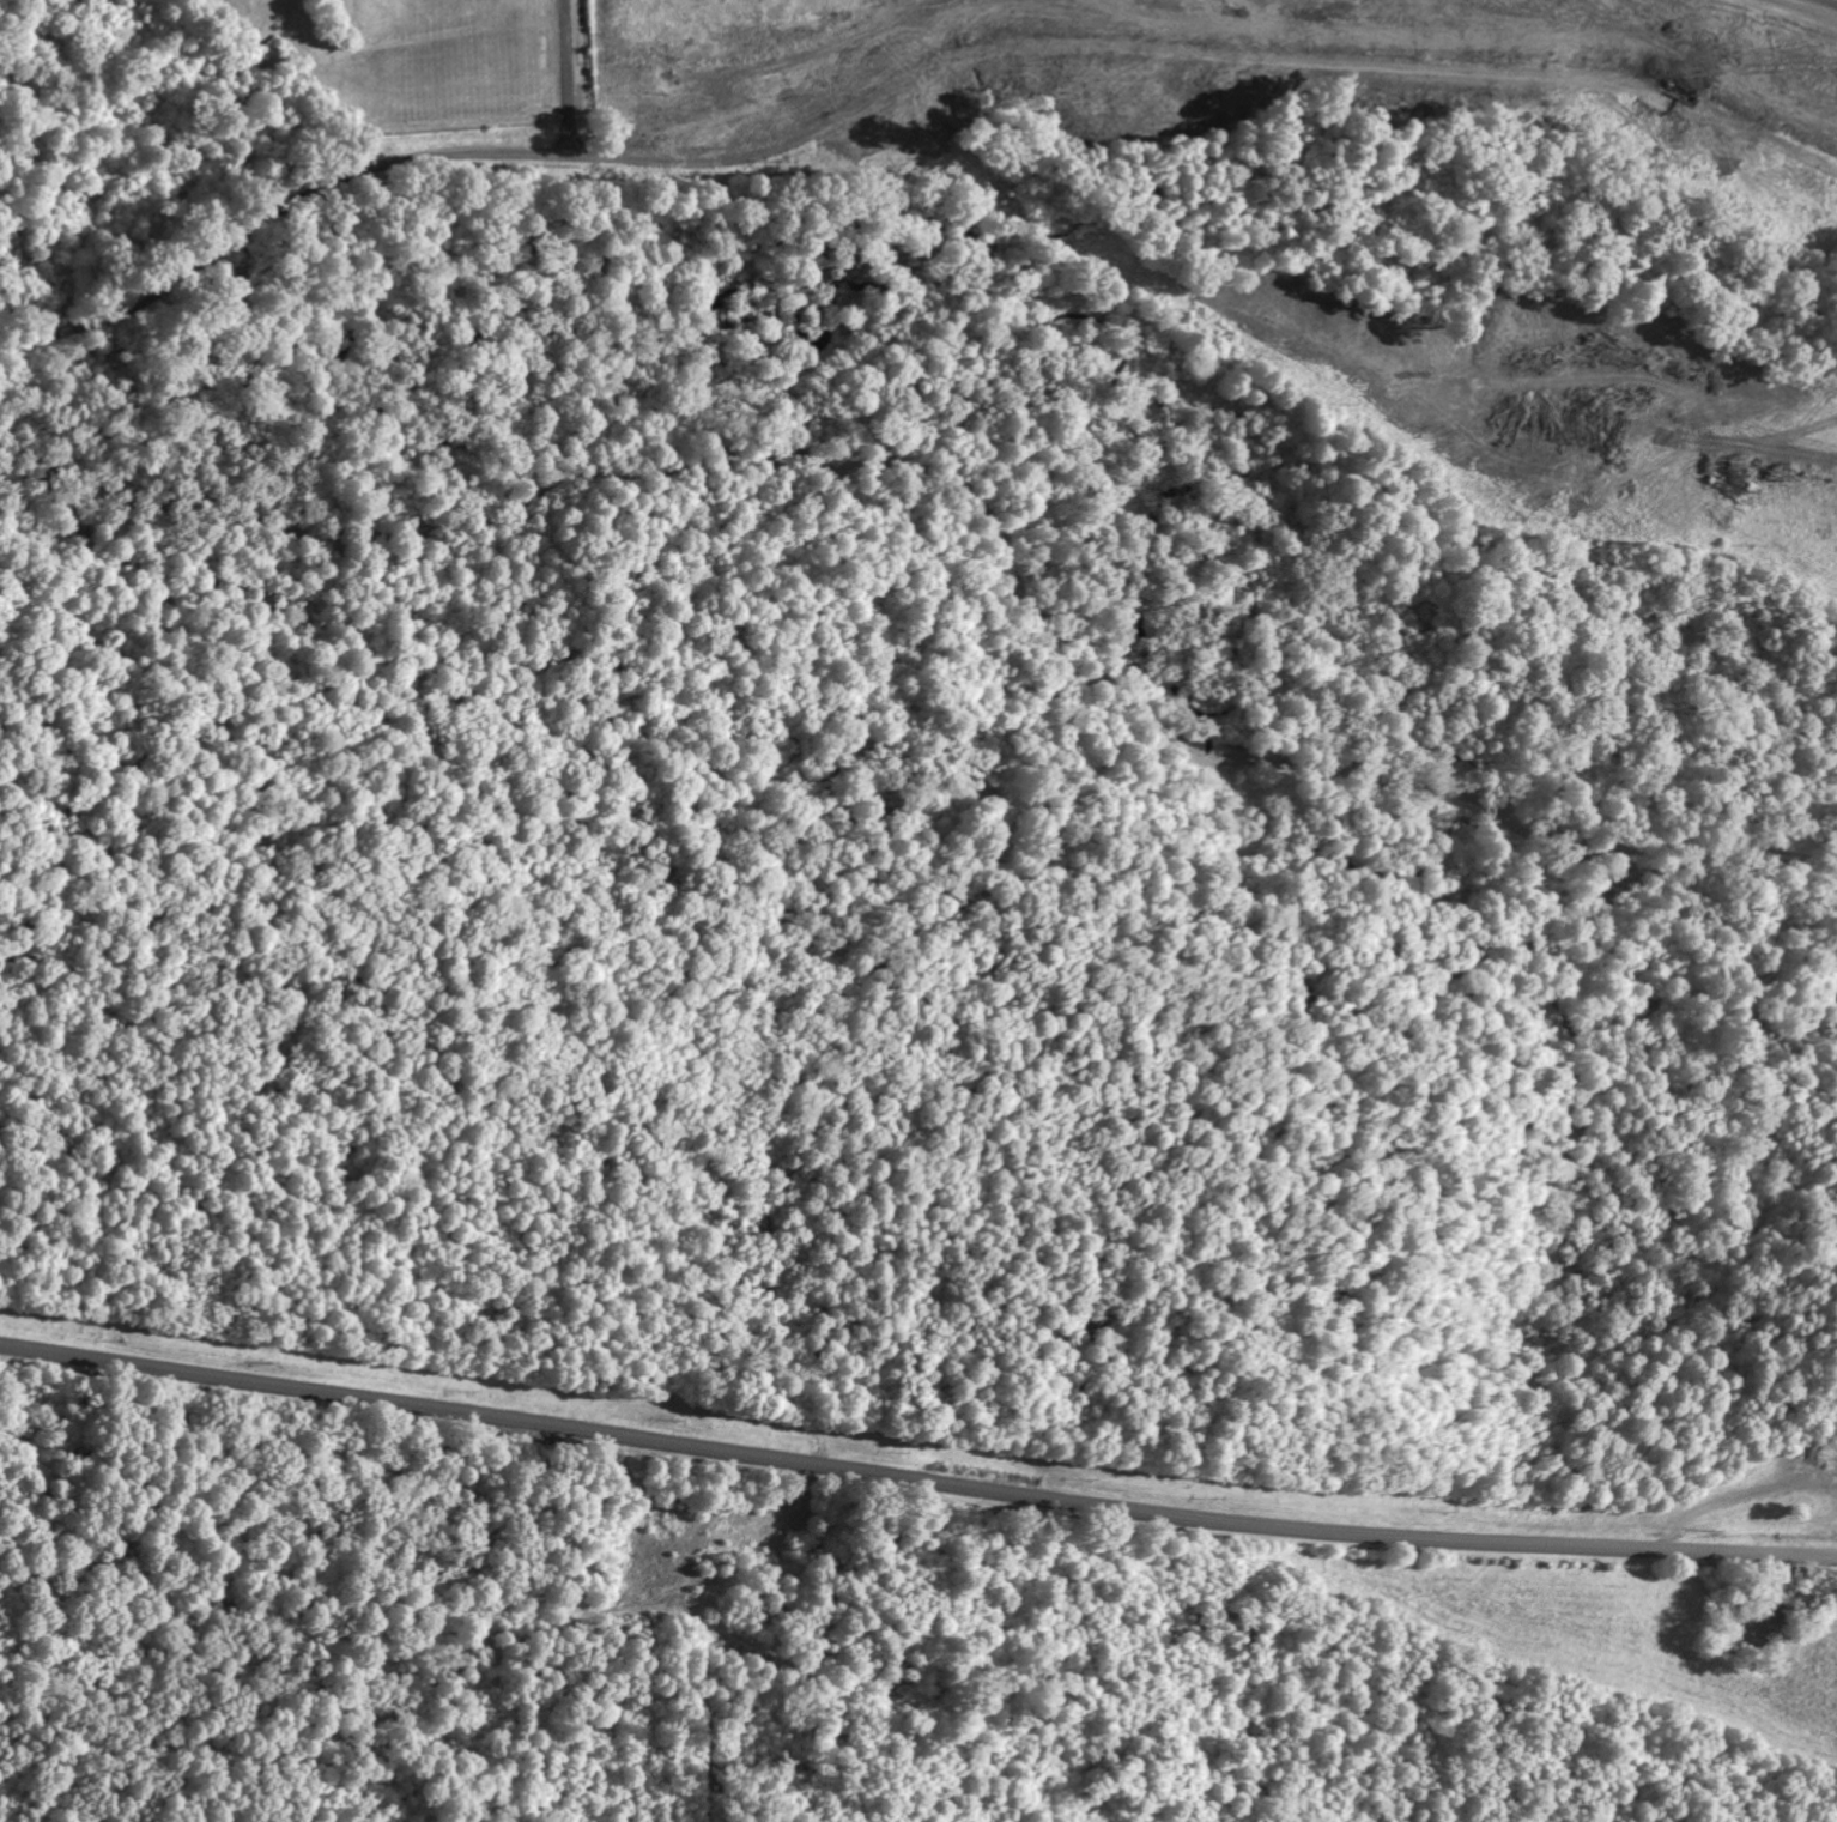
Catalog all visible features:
road: (564, 75)
road: (903, 86)
road: (915, 1478)

